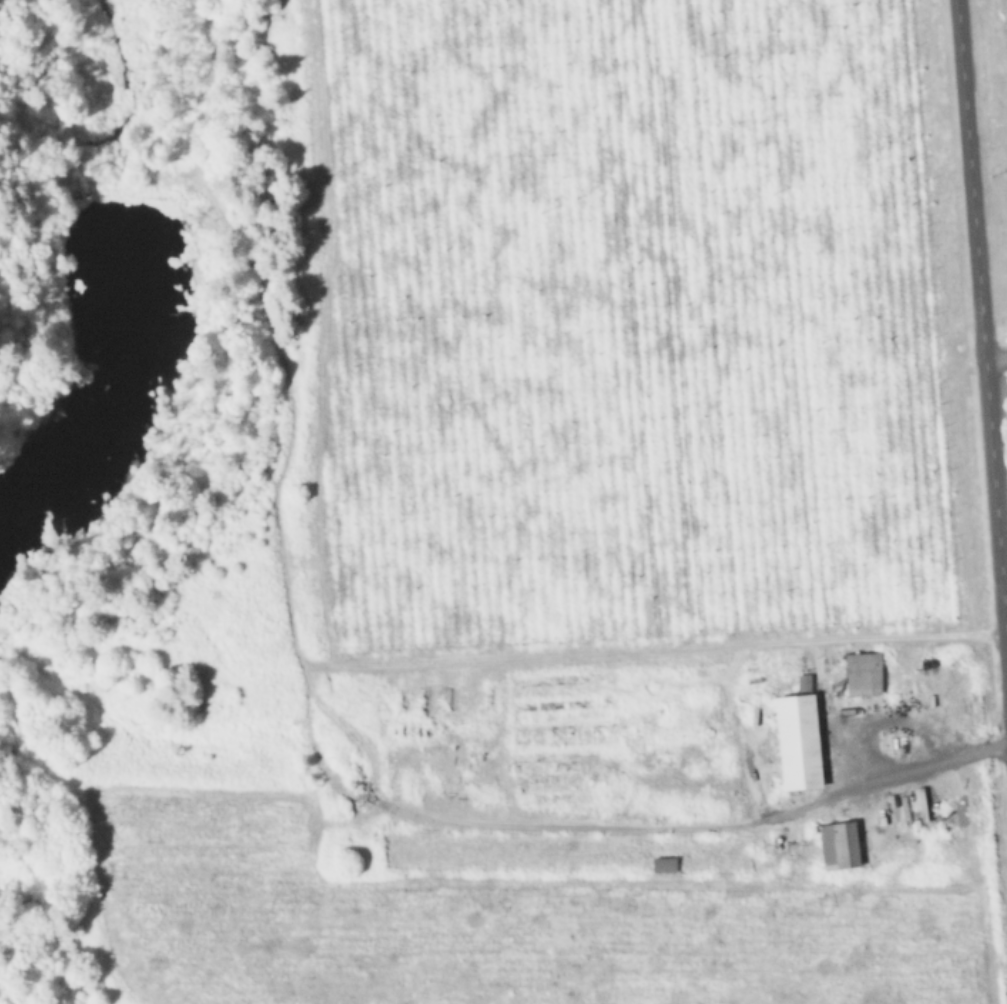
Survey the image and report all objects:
crop: (1000, 84)
crop: (626, 320)
road: (981, 327)
road: (996, 364)
building: (862, 674)
building: (798, 742)
road: (859, 743)
road: (988, 747)
road: (661, 829)
crop: (590, 830)
building: (838, 846)

